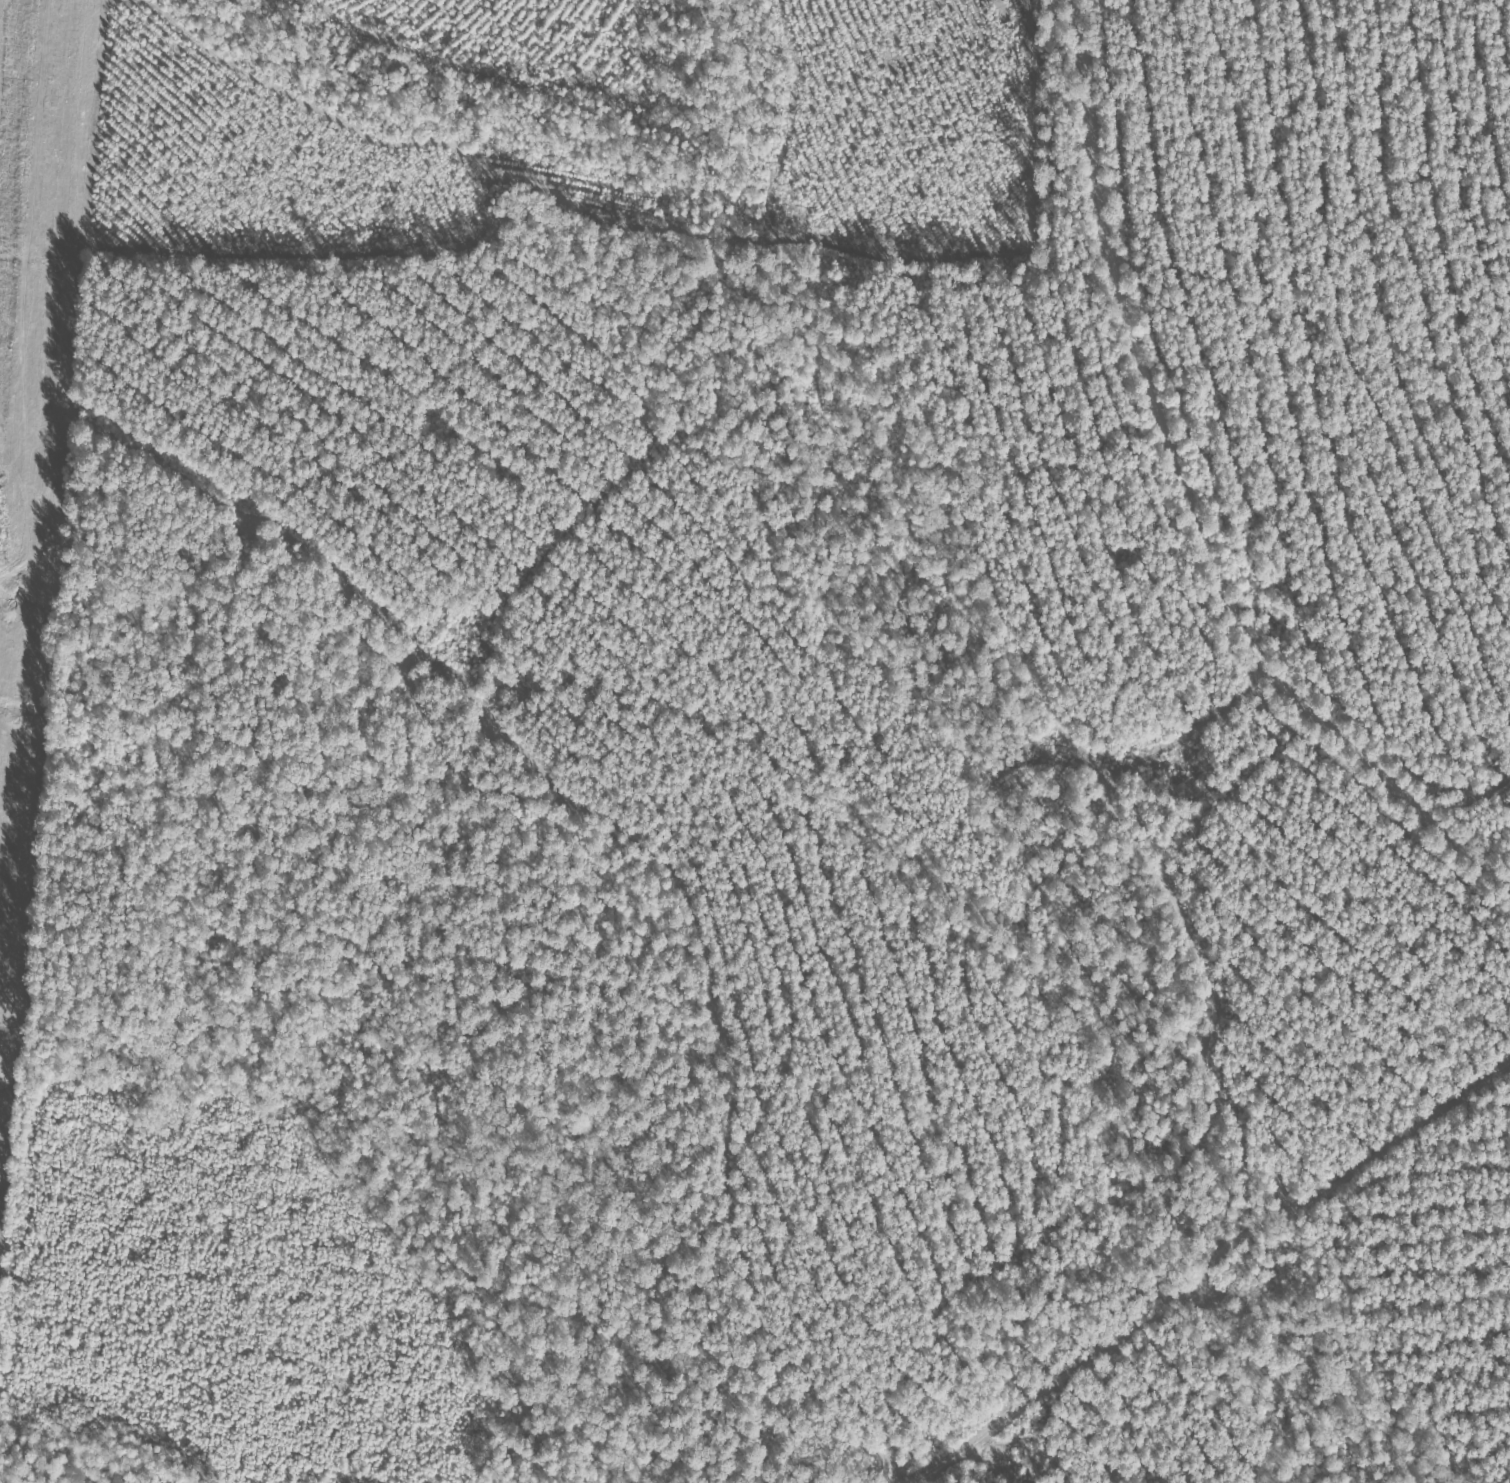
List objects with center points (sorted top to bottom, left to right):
road: (1156, 516)

